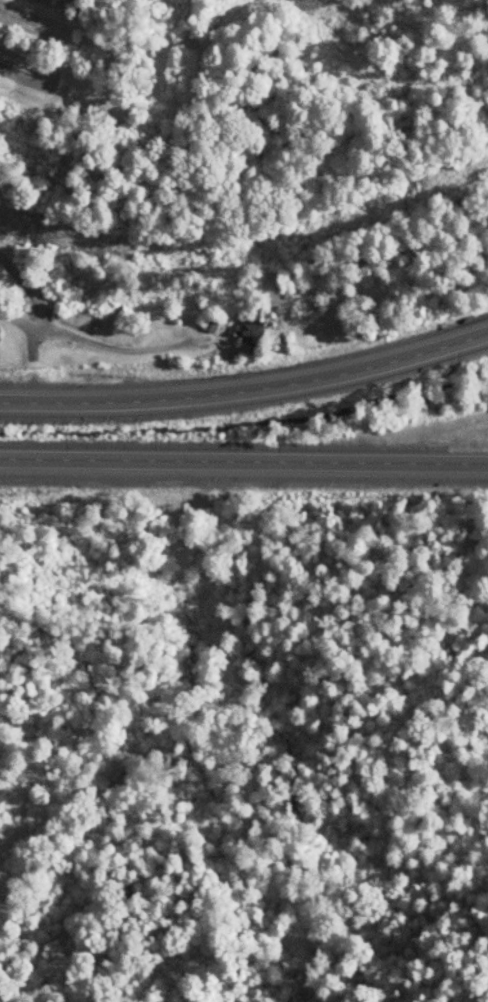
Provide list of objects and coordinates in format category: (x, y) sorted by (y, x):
road: (33, 300)
building: (244, 333)
road: (247, 388)
road: (244, 459)

